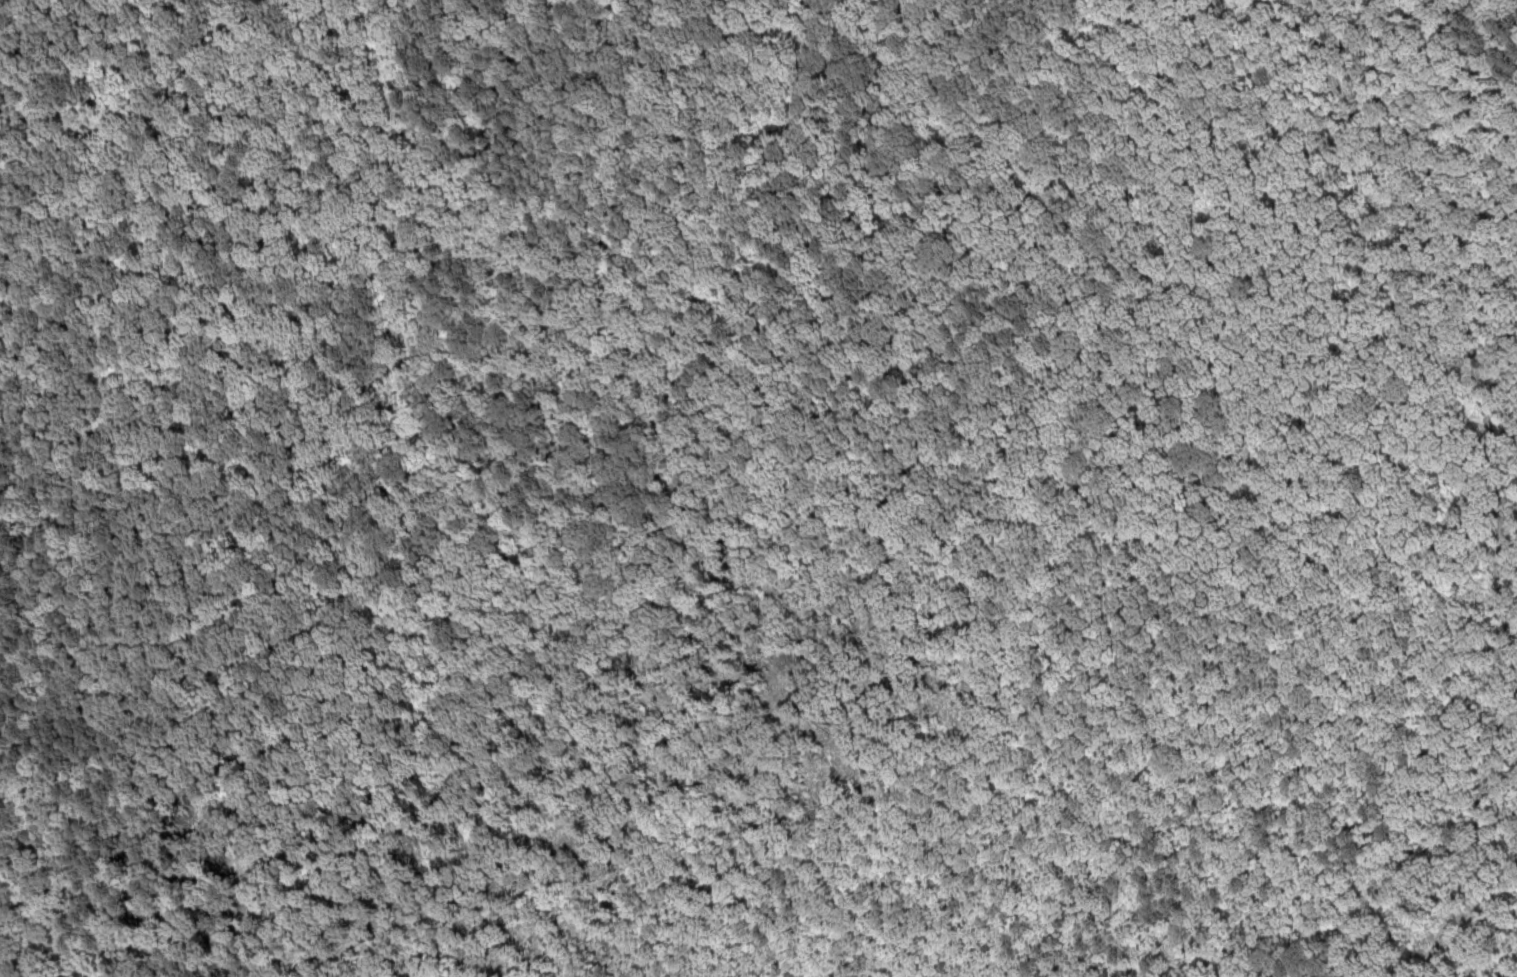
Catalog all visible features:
road: (1309, 25)
road: (1465, 469)

